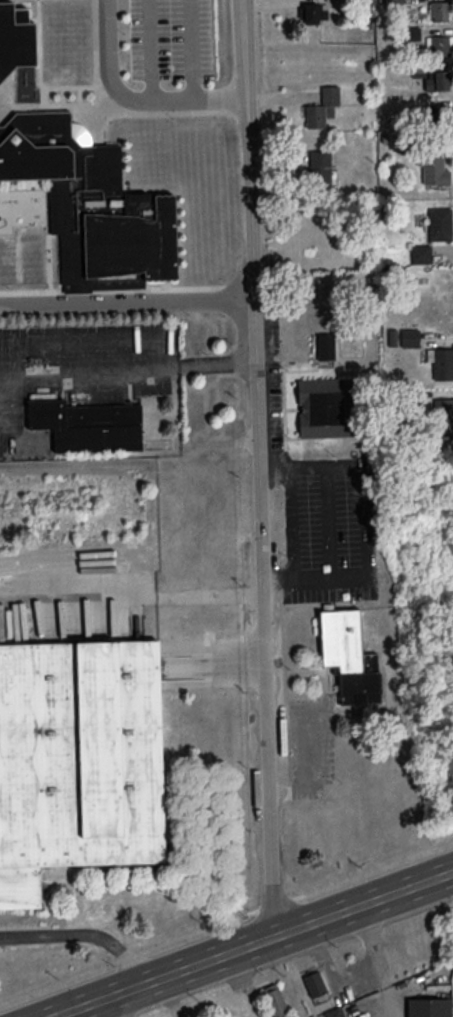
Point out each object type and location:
building: (439, 10)
building: (315, 12)
building: (15, 37)
building: (440, 44)
road: (150, 50)
road: (191, 50)
building: (438, 80)
road: (114, 83)
road: (222, 98)
building: (323, 107)
building: (437, 115)
building: (320, 169)
building: (434, 170)
building: (91, 203)
building: (440, 223)
building: (421, 253)
road: (128, 303)
building: (410, 336)
building: (323, 346)
building: (441, 363)
road: (129, 367)
building: (326, 406)
building: (440, 409)
building: (87, 423)
road: (262, 470)
road: (292, 522)
parking lot: (327, 528)
road: (132, 598)
building: (348, 655)
building: (79, 759)
road: (364, 907)
road: (84, 933)
road: (165, 978)
building: (315, 983)
building: (275, 1000)
road: (114, 1007)
building: (429, 1007)
building: (334, 1012)

